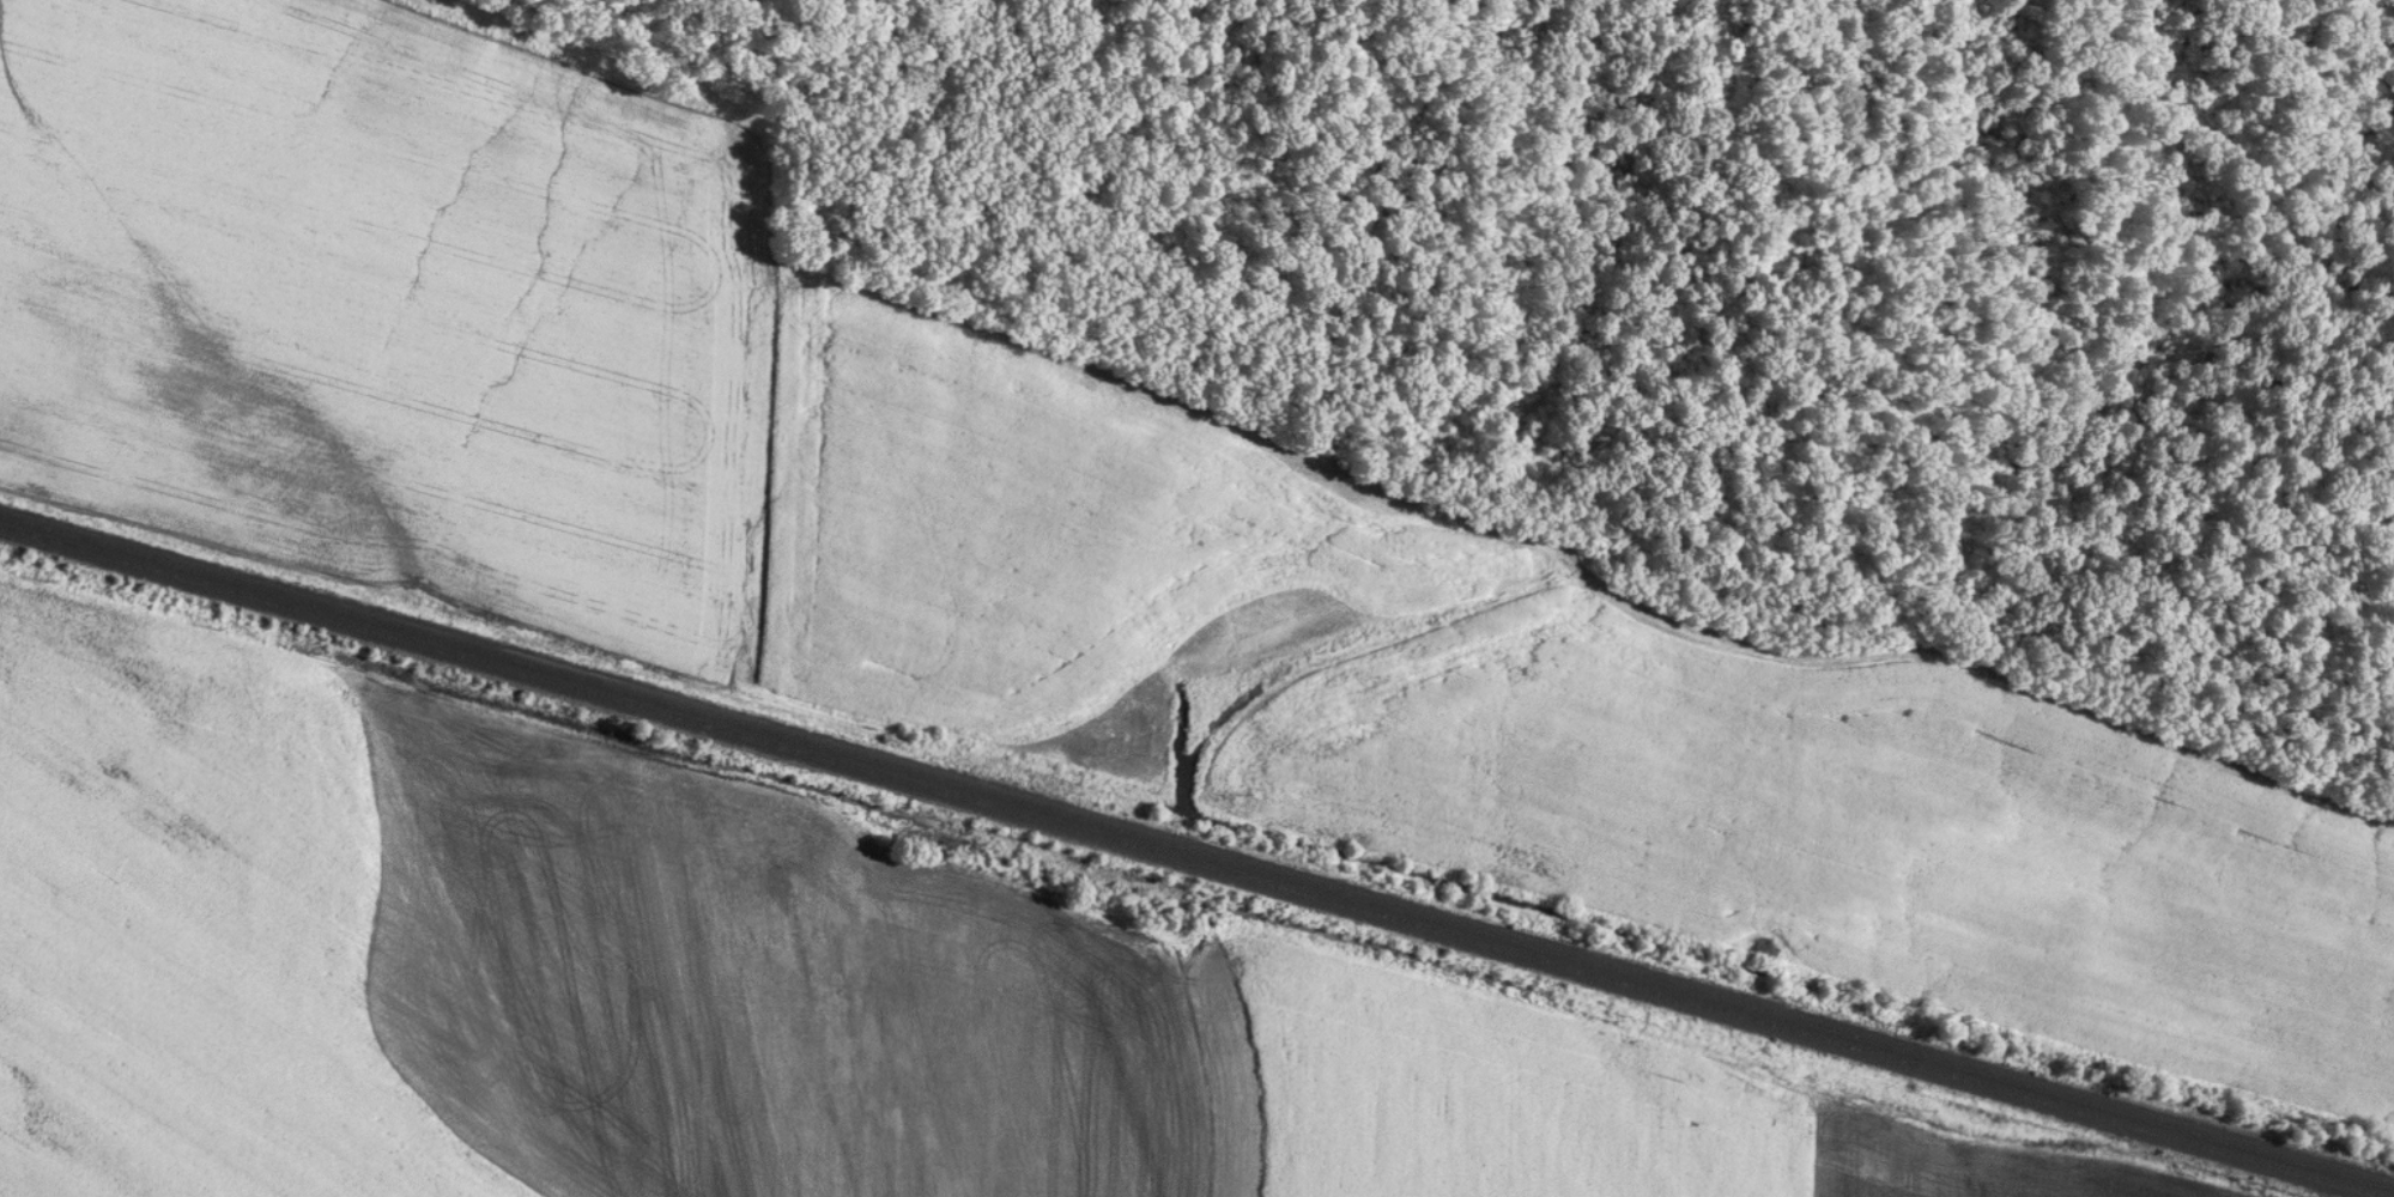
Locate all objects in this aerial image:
railway: (1196, 852)
railway: (1186, 863)

